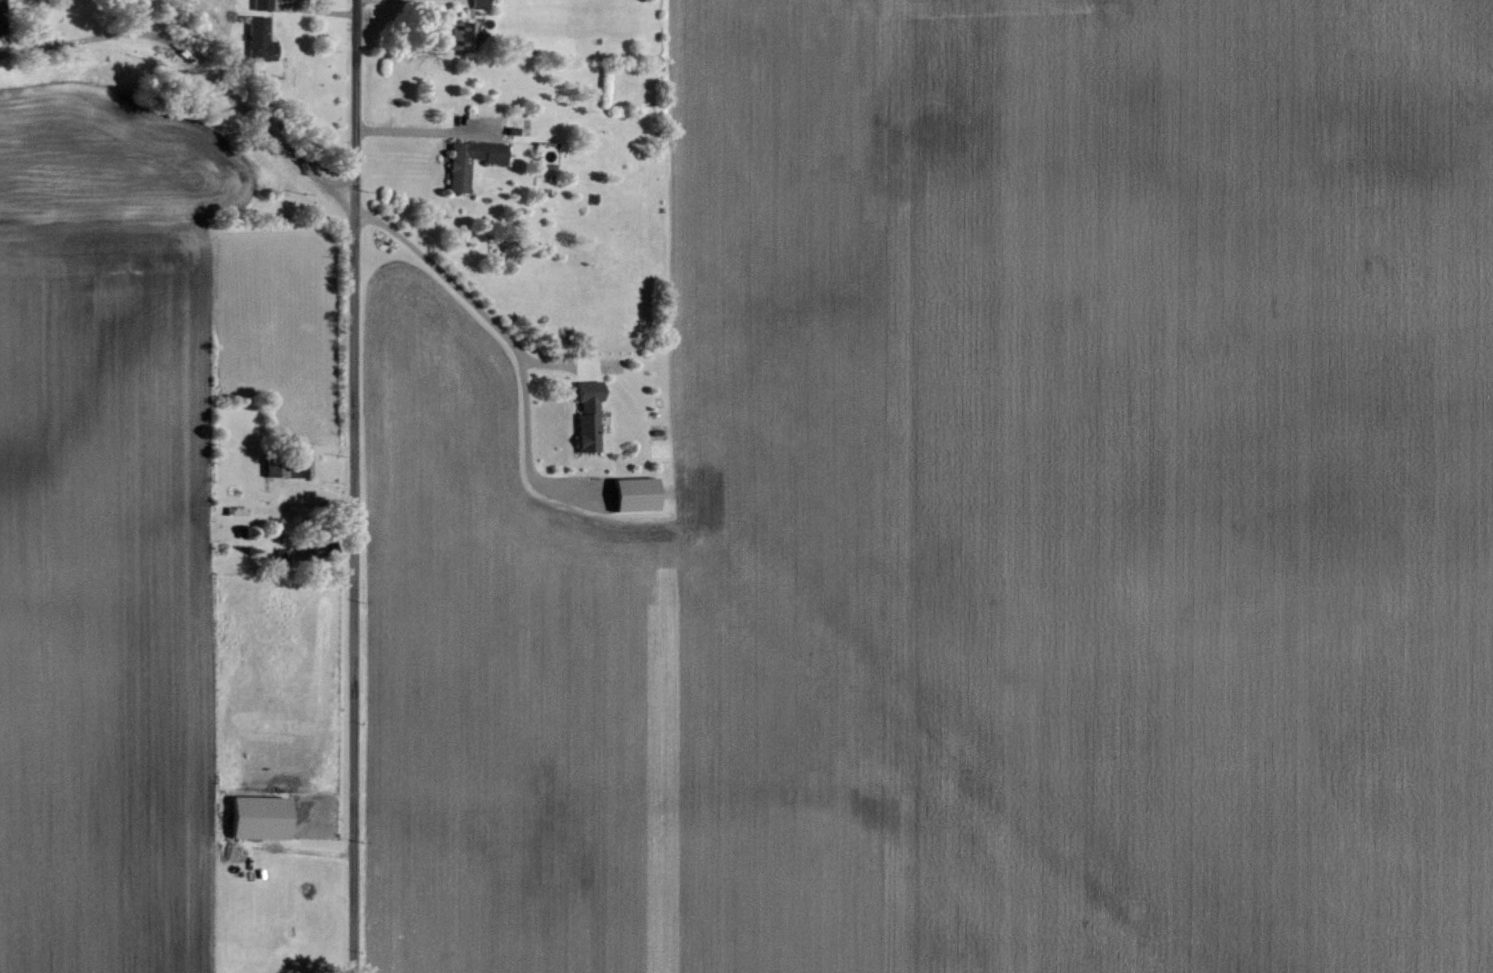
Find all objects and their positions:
building: (263, 4)
building: (481, 4)
road: (317, 11)
building: (1, 28)
building: (464, 35)
building: (261, 40)
road: (196, 61)
road: (406, 131)
building: (471, 160)
road: (463, 296)
building: (590, 414)
building: (286, 469)
road: (349, 486)
building: (638, 495)
building: (262, 818)

